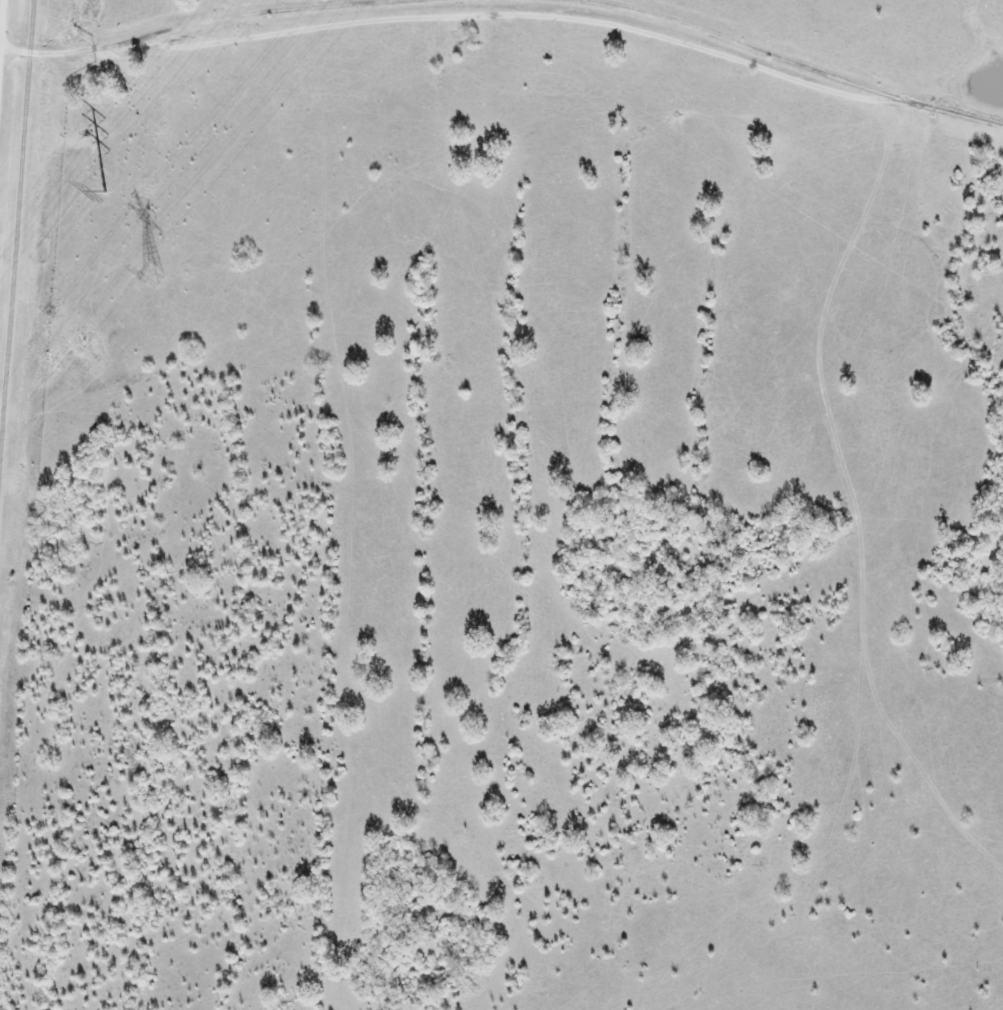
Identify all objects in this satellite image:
road: (2, 35)
road: (73, 54)
railway: (17, 246)
power tower: (153, 275)

